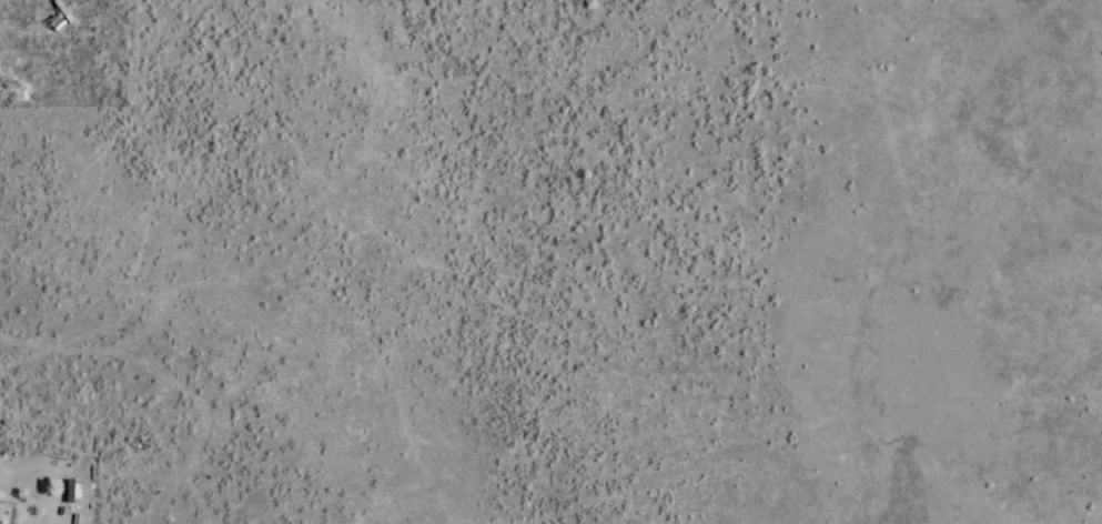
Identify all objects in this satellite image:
building: (73, 491)

